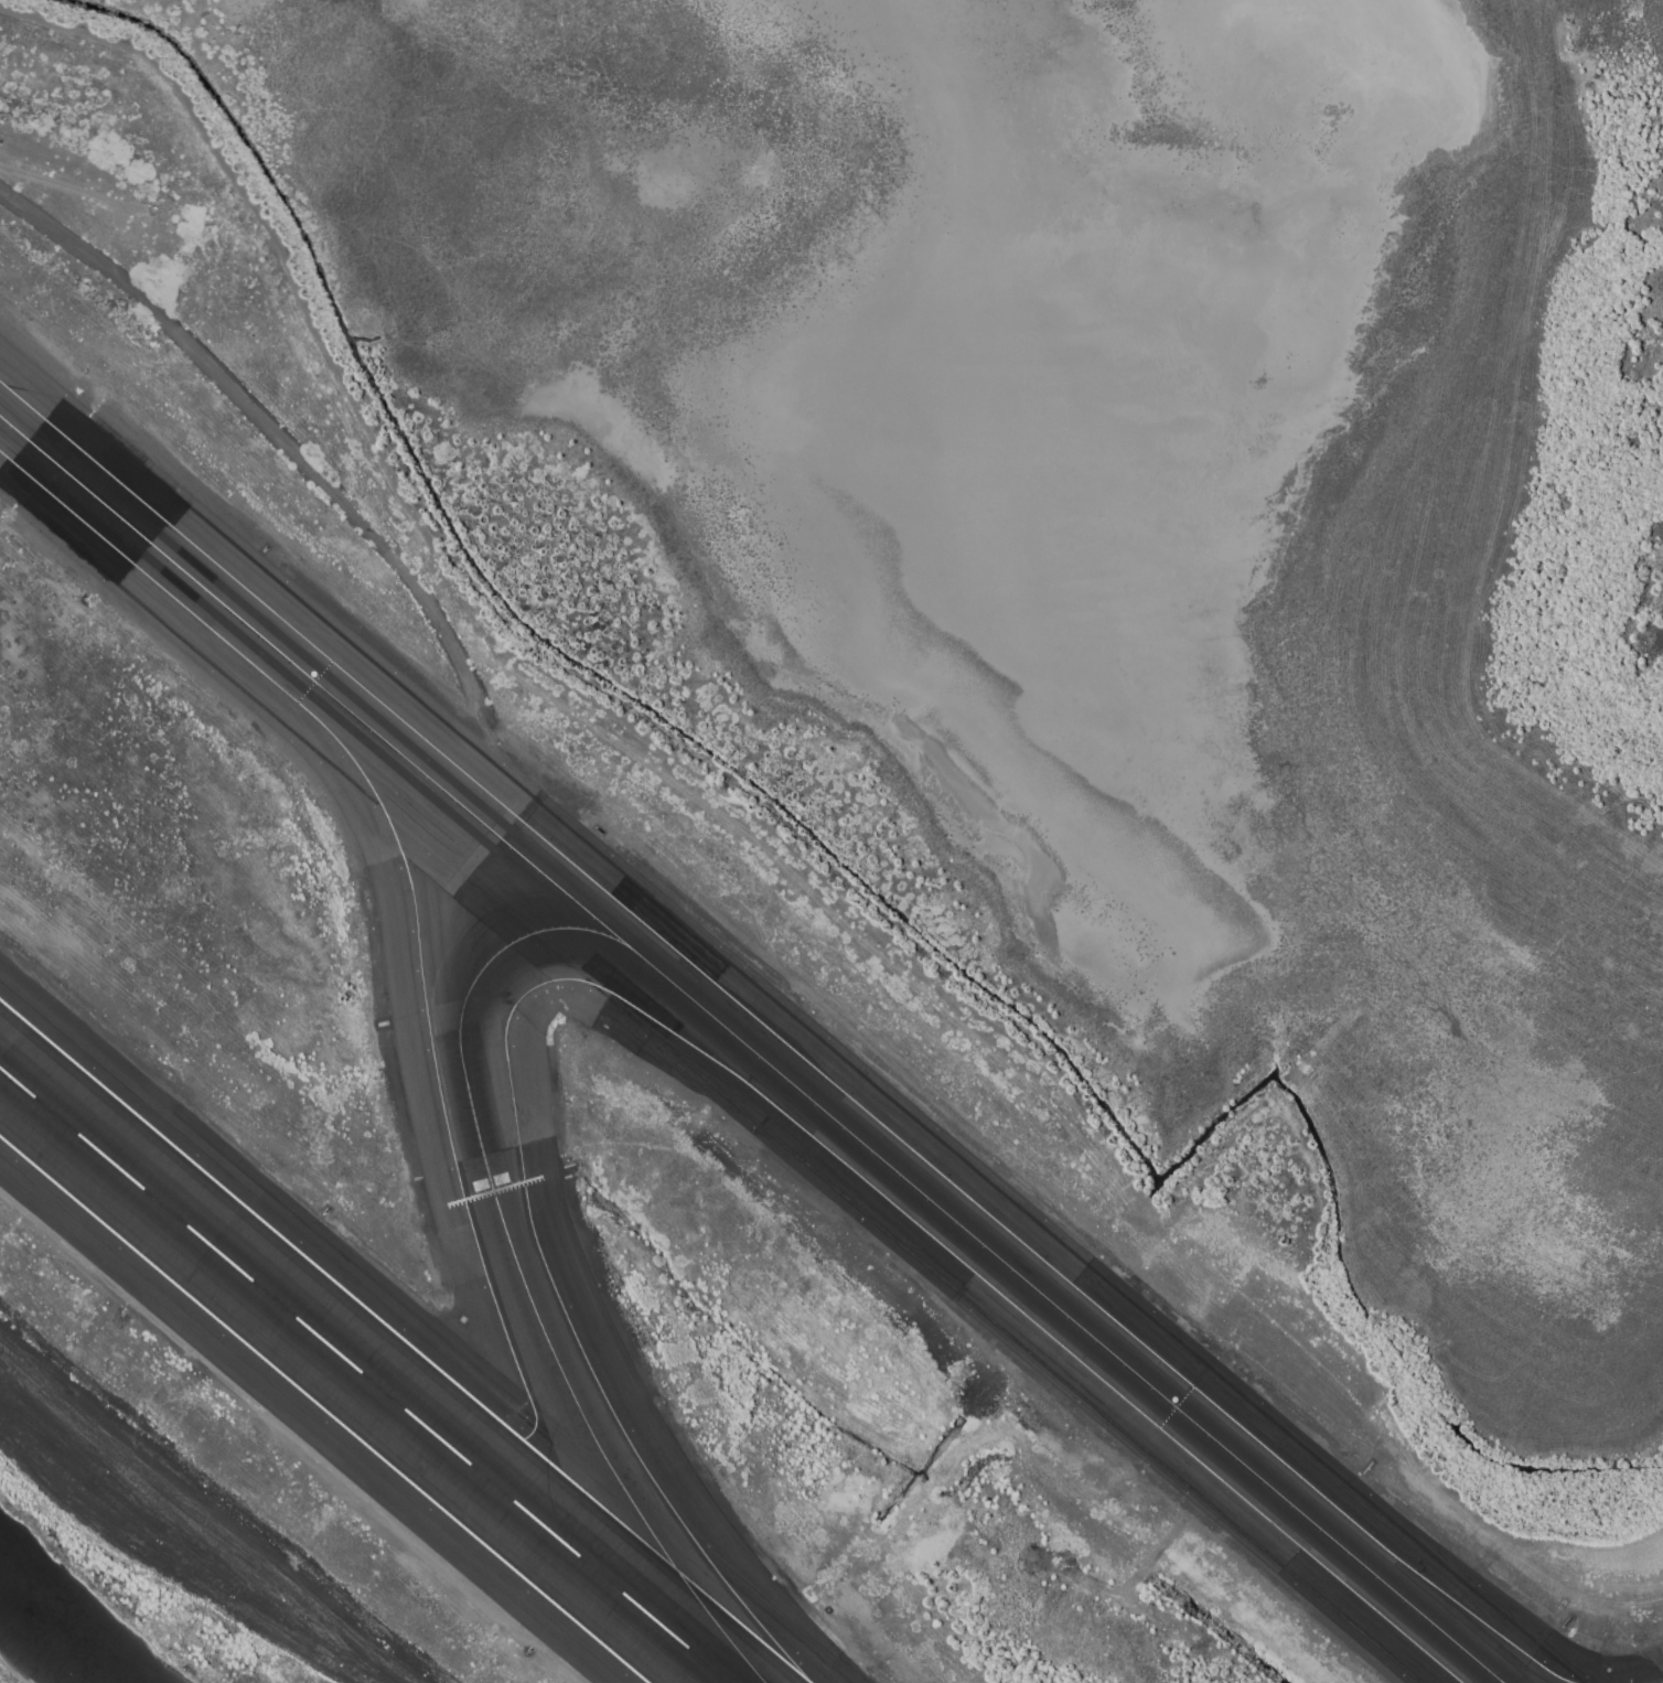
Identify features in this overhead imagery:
airport: (831, 842)
airport taxiway: (751, 1049)
airport taxiway: (521, 1272)
airport runway: (364, 1375)

